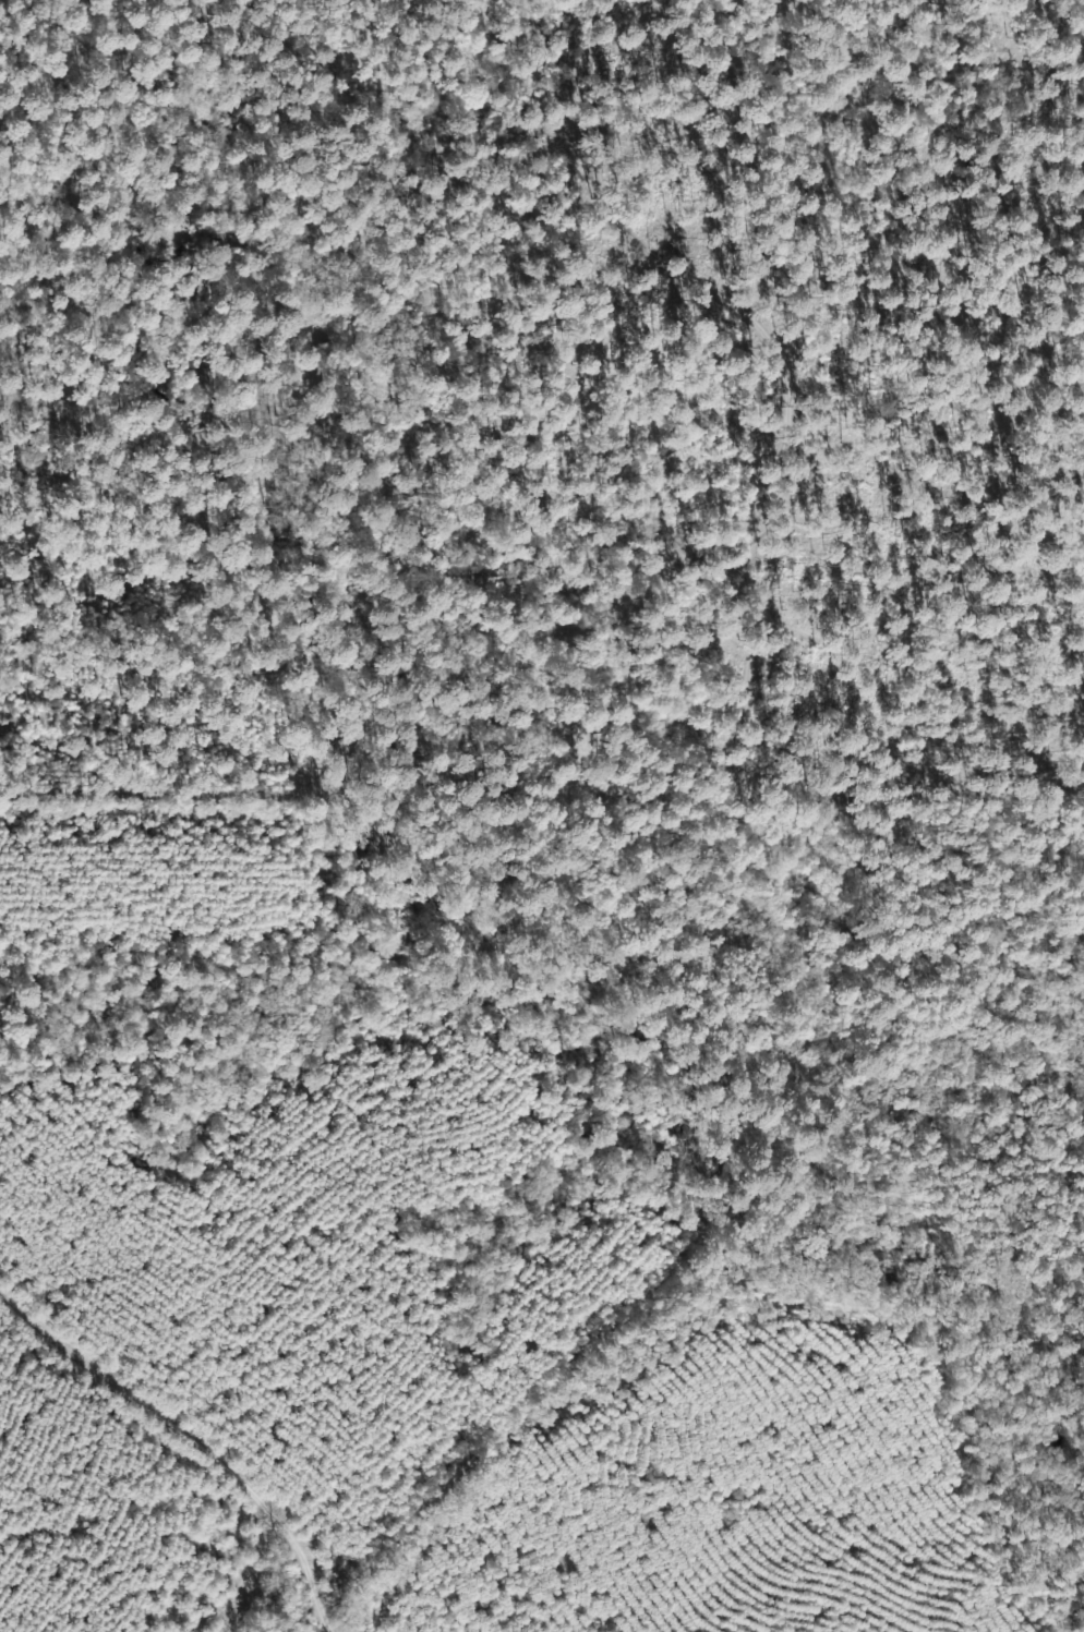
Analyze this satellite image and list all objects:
road: (629, 383)
park: (542, 409)
road: (541, 779)
road: (192, 1439)
road: (306, 1569)

